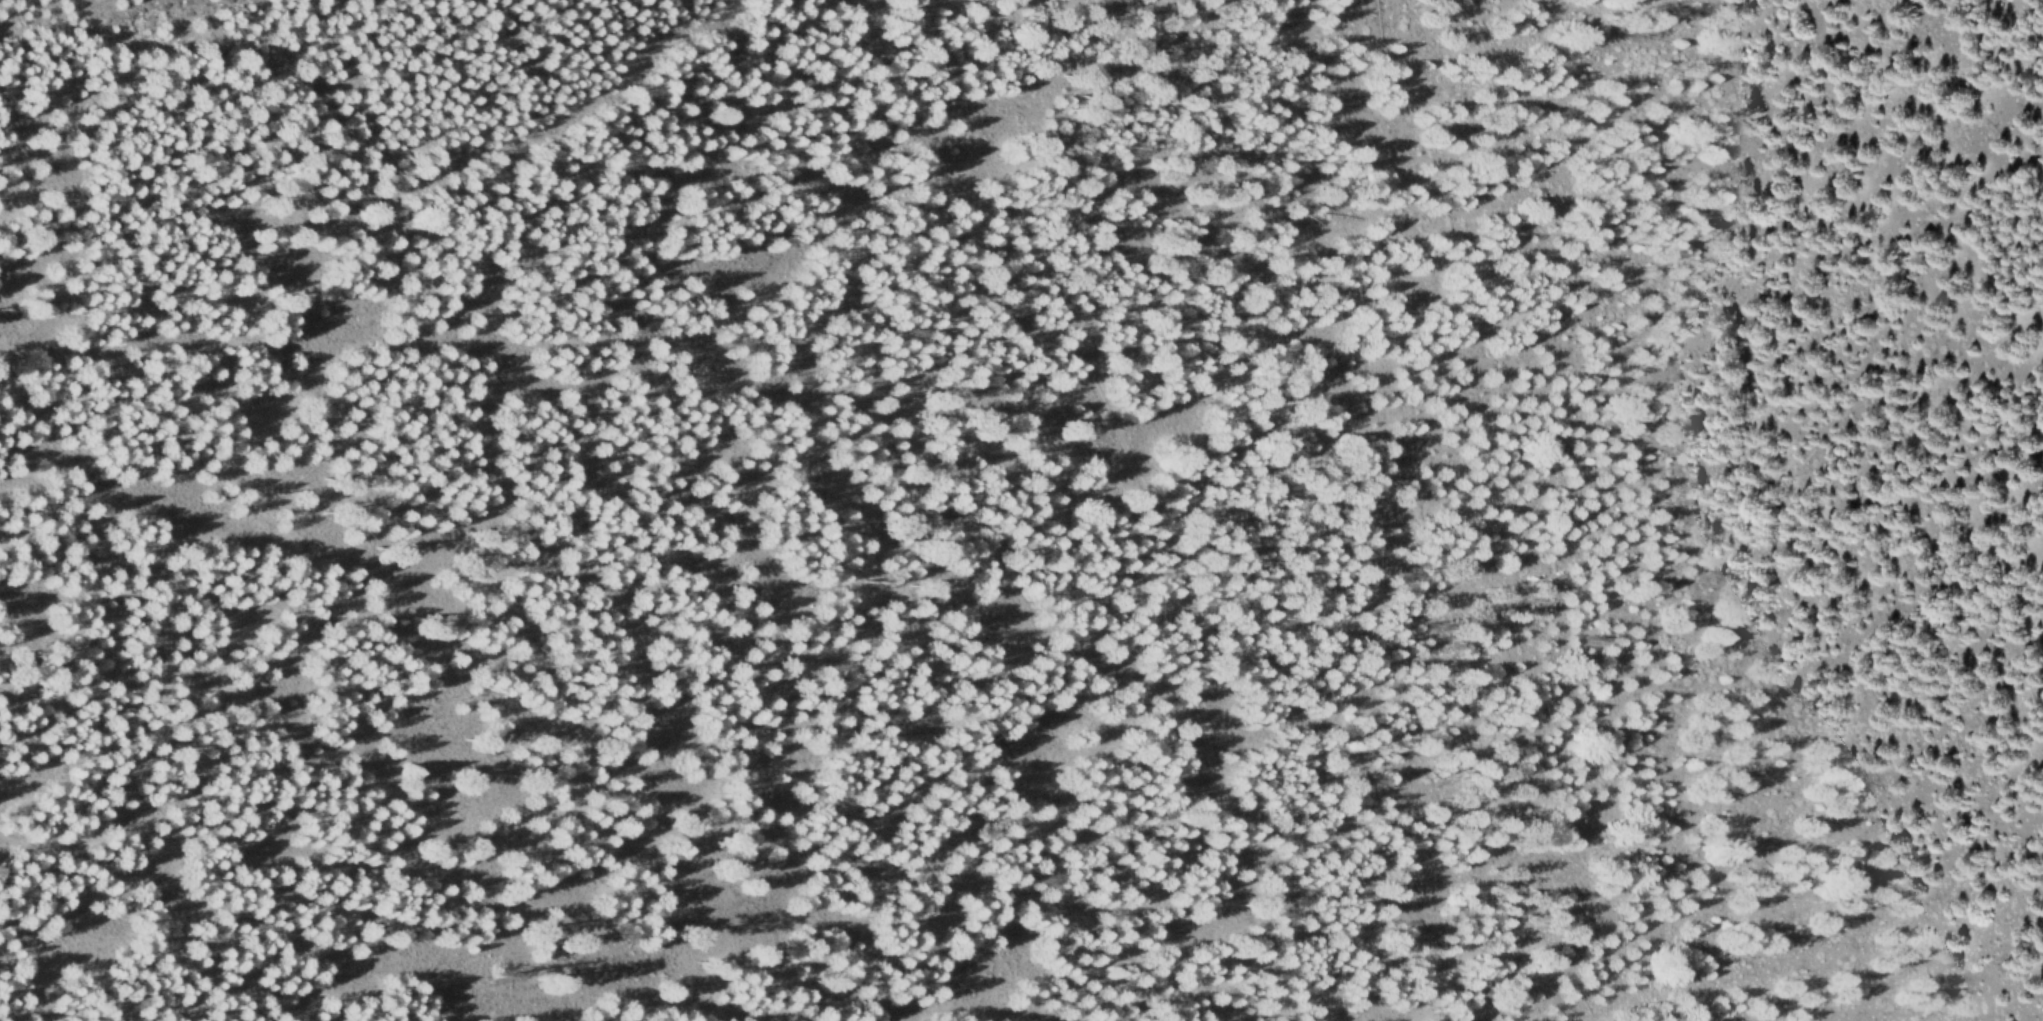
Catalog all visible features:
road: (1137, 503)

